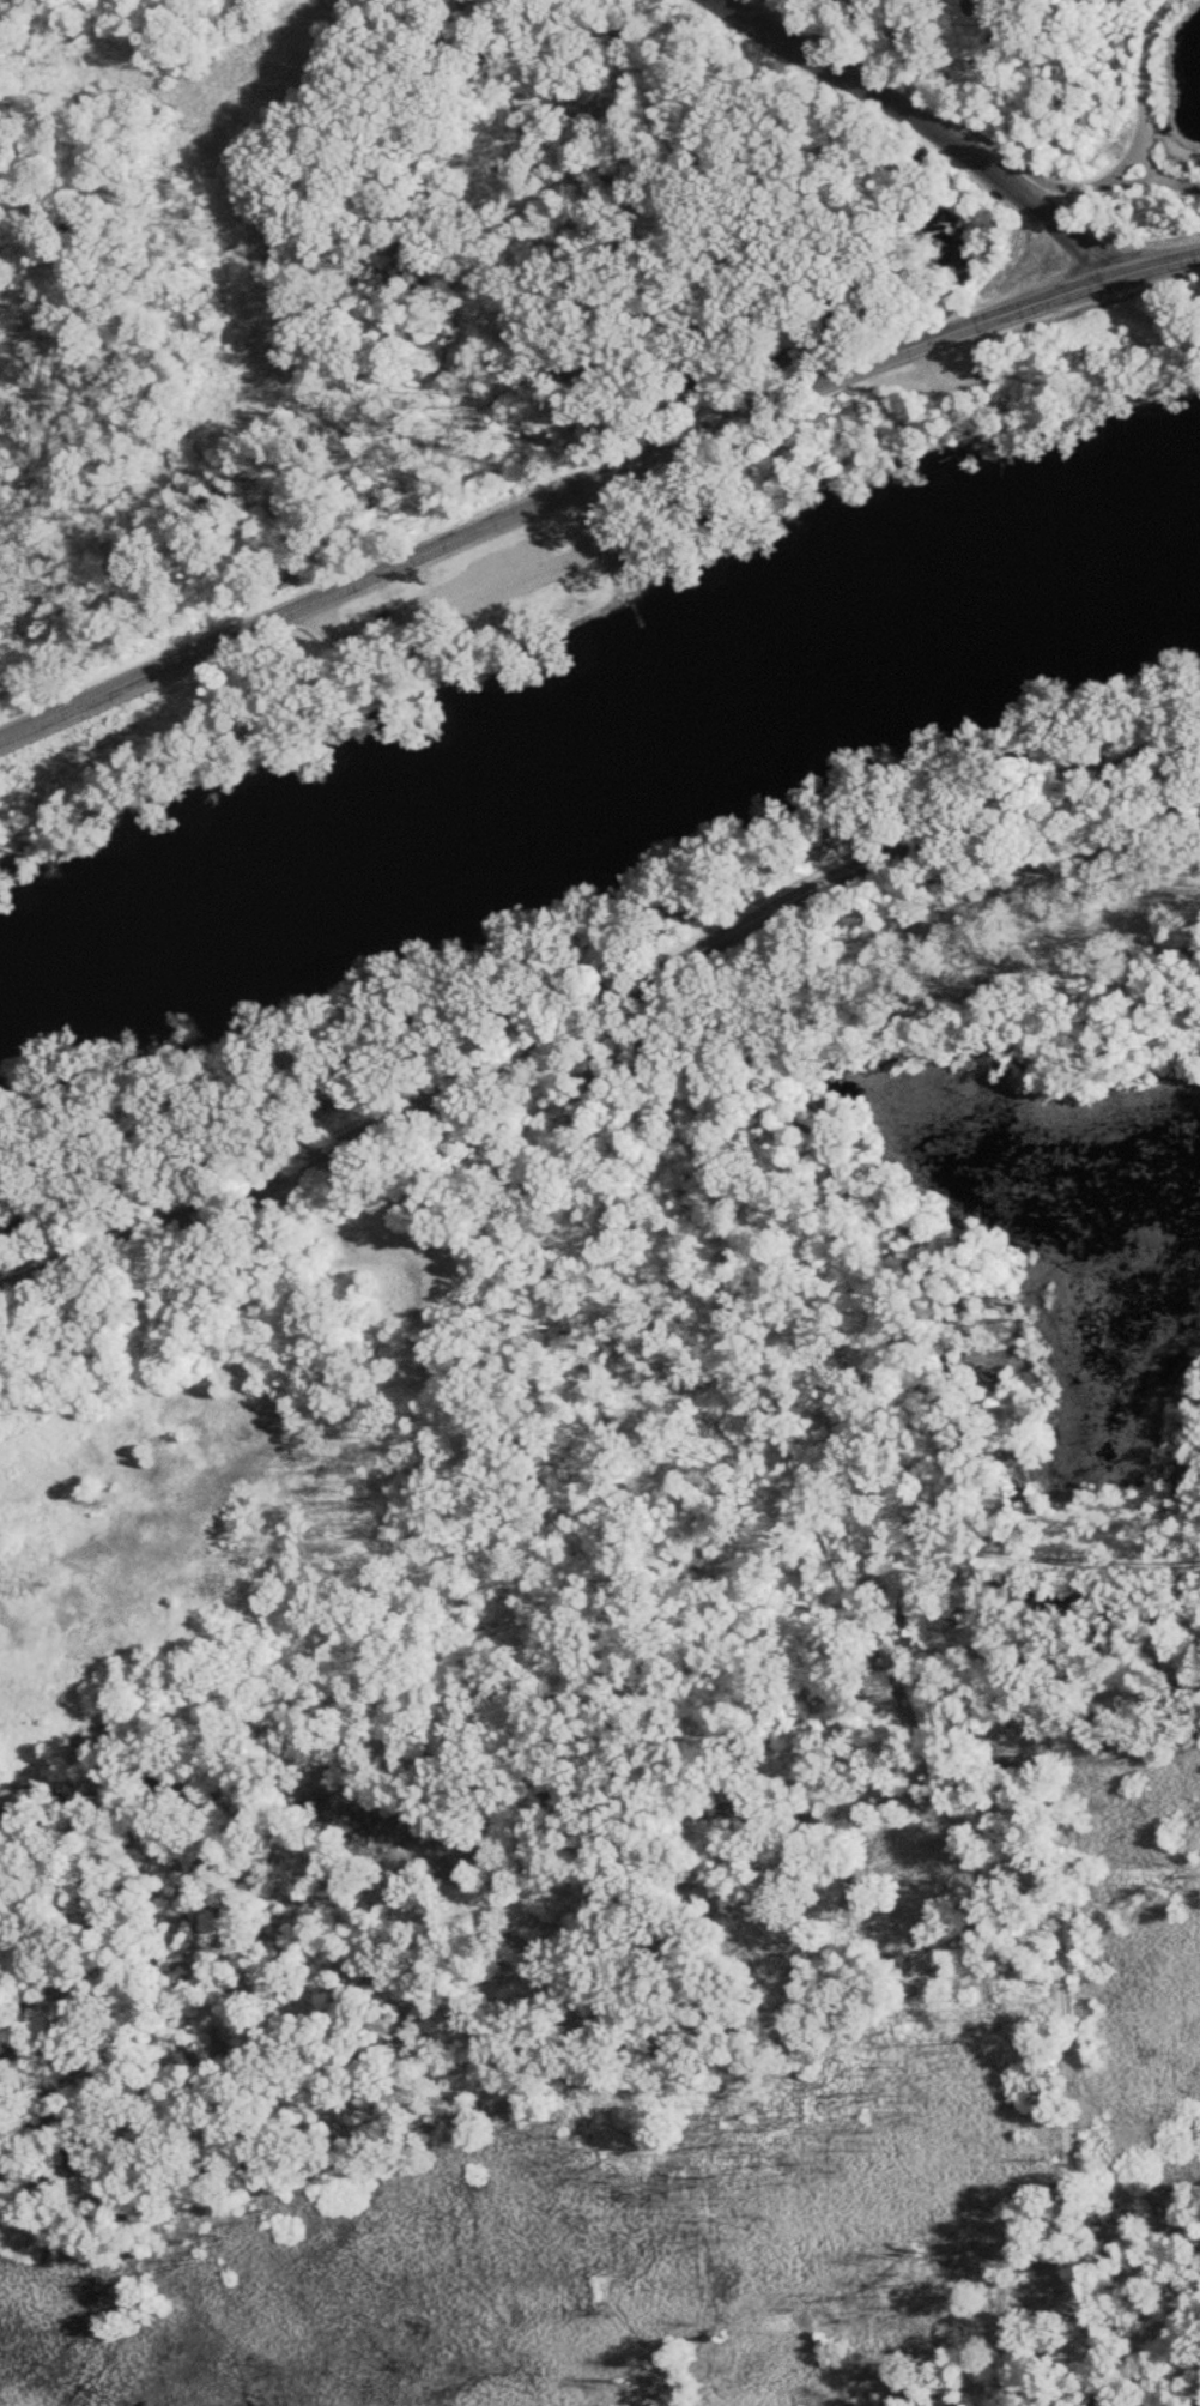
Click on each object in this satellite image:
road: (1144, 91)
road: (913, 92)
road: (934, 127)
road: (1121, 167)
road: (1107, 186)
road: (1181, 188)
park: (473, 247)
road: (593, 483)
parking lot: (485, 579)
road: (479, 597)
park: (459, 615)
river: (605, 754)
road: (598, 1005)

